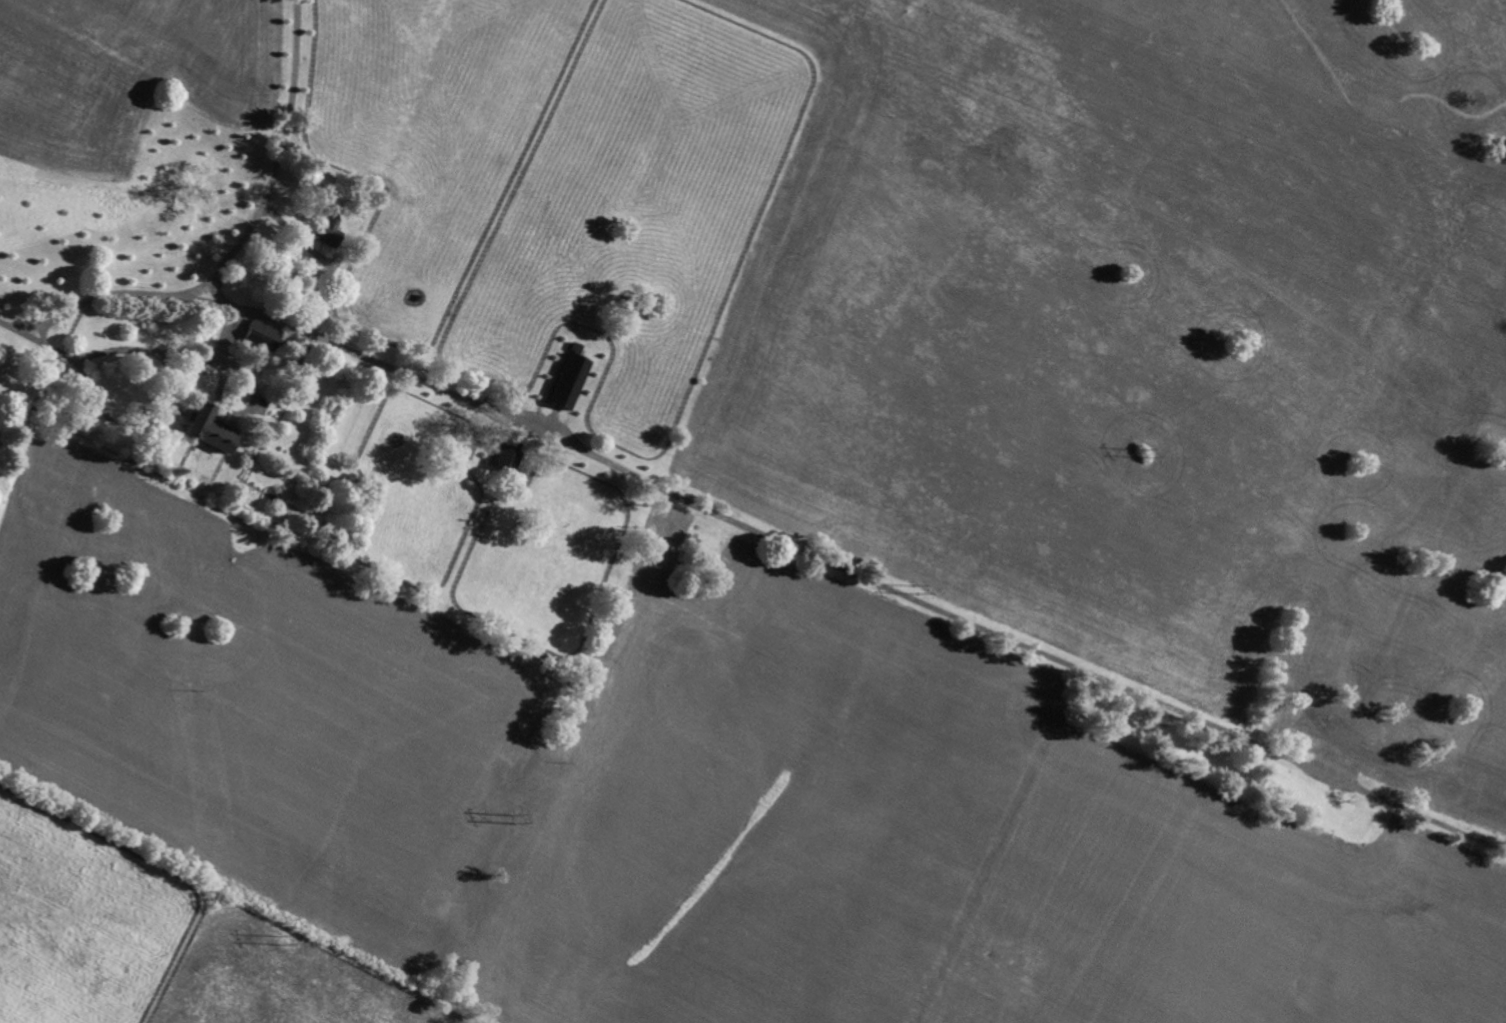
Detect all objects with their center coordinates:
road: (272, 185)
building: (327, 237)
road: (320, 256)
road: (102, 297)
road: (251, 312)
building: (261, 334)
road: (128, 350)
building: (569, 380)
building: (209, 428)
building: (506, 455)
power tower: (1142, 455)
road: (905, 591)
power tower: (914, 592)
power tower: (516, 820)
power tower: (283, 942)

